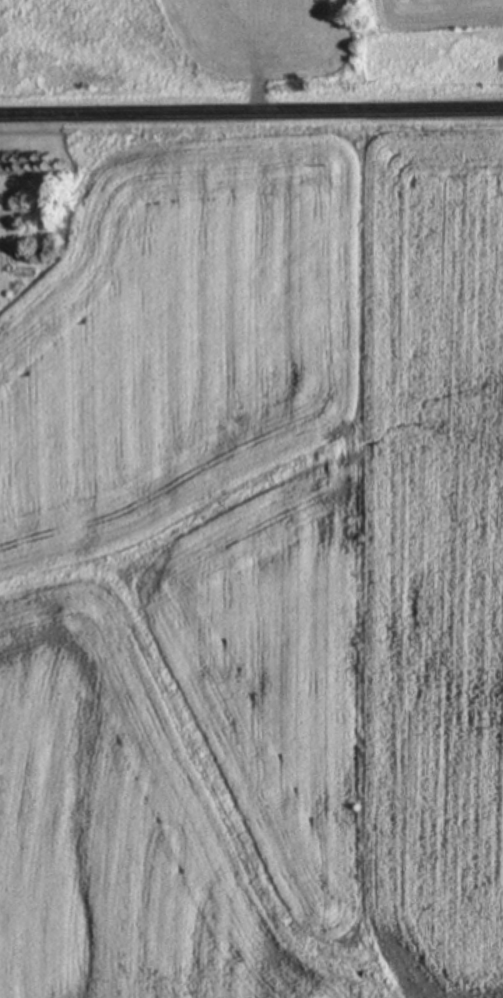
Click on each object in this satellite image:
road: (251, 112)

